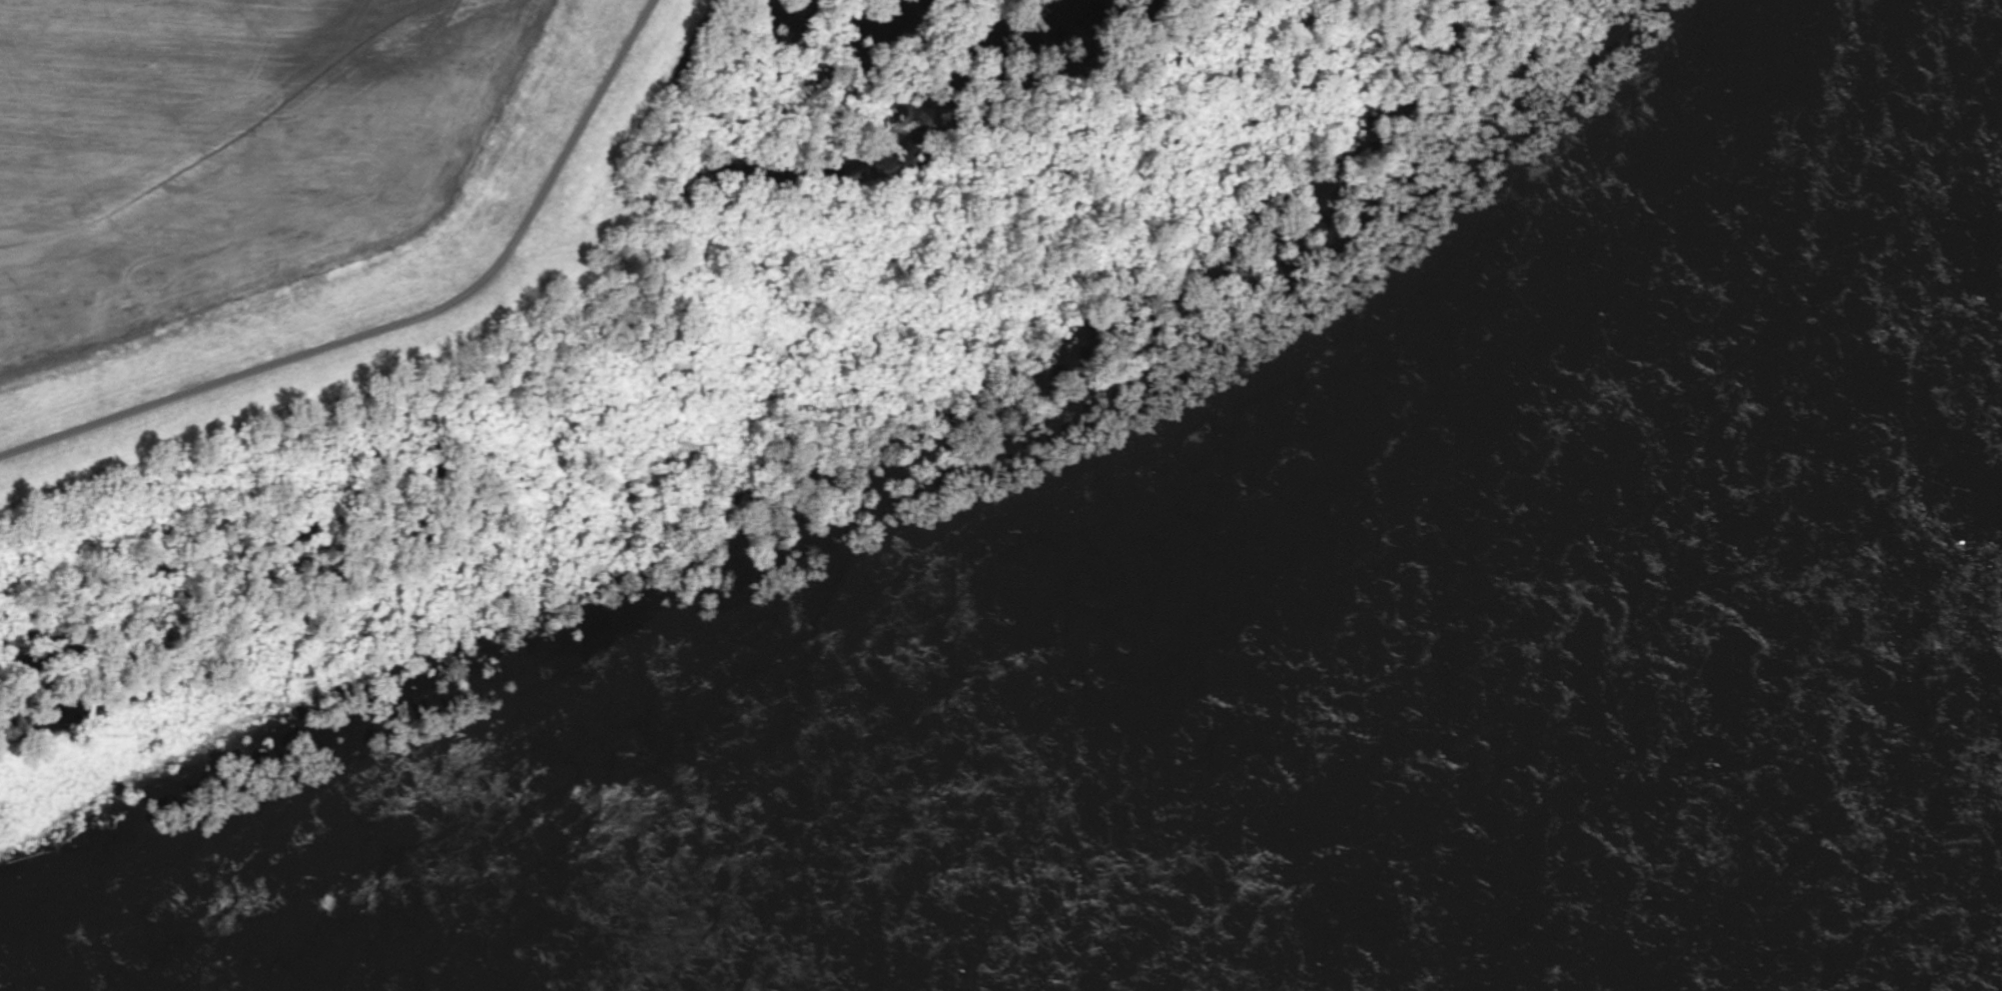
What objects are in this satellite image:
road: (401, 321)

